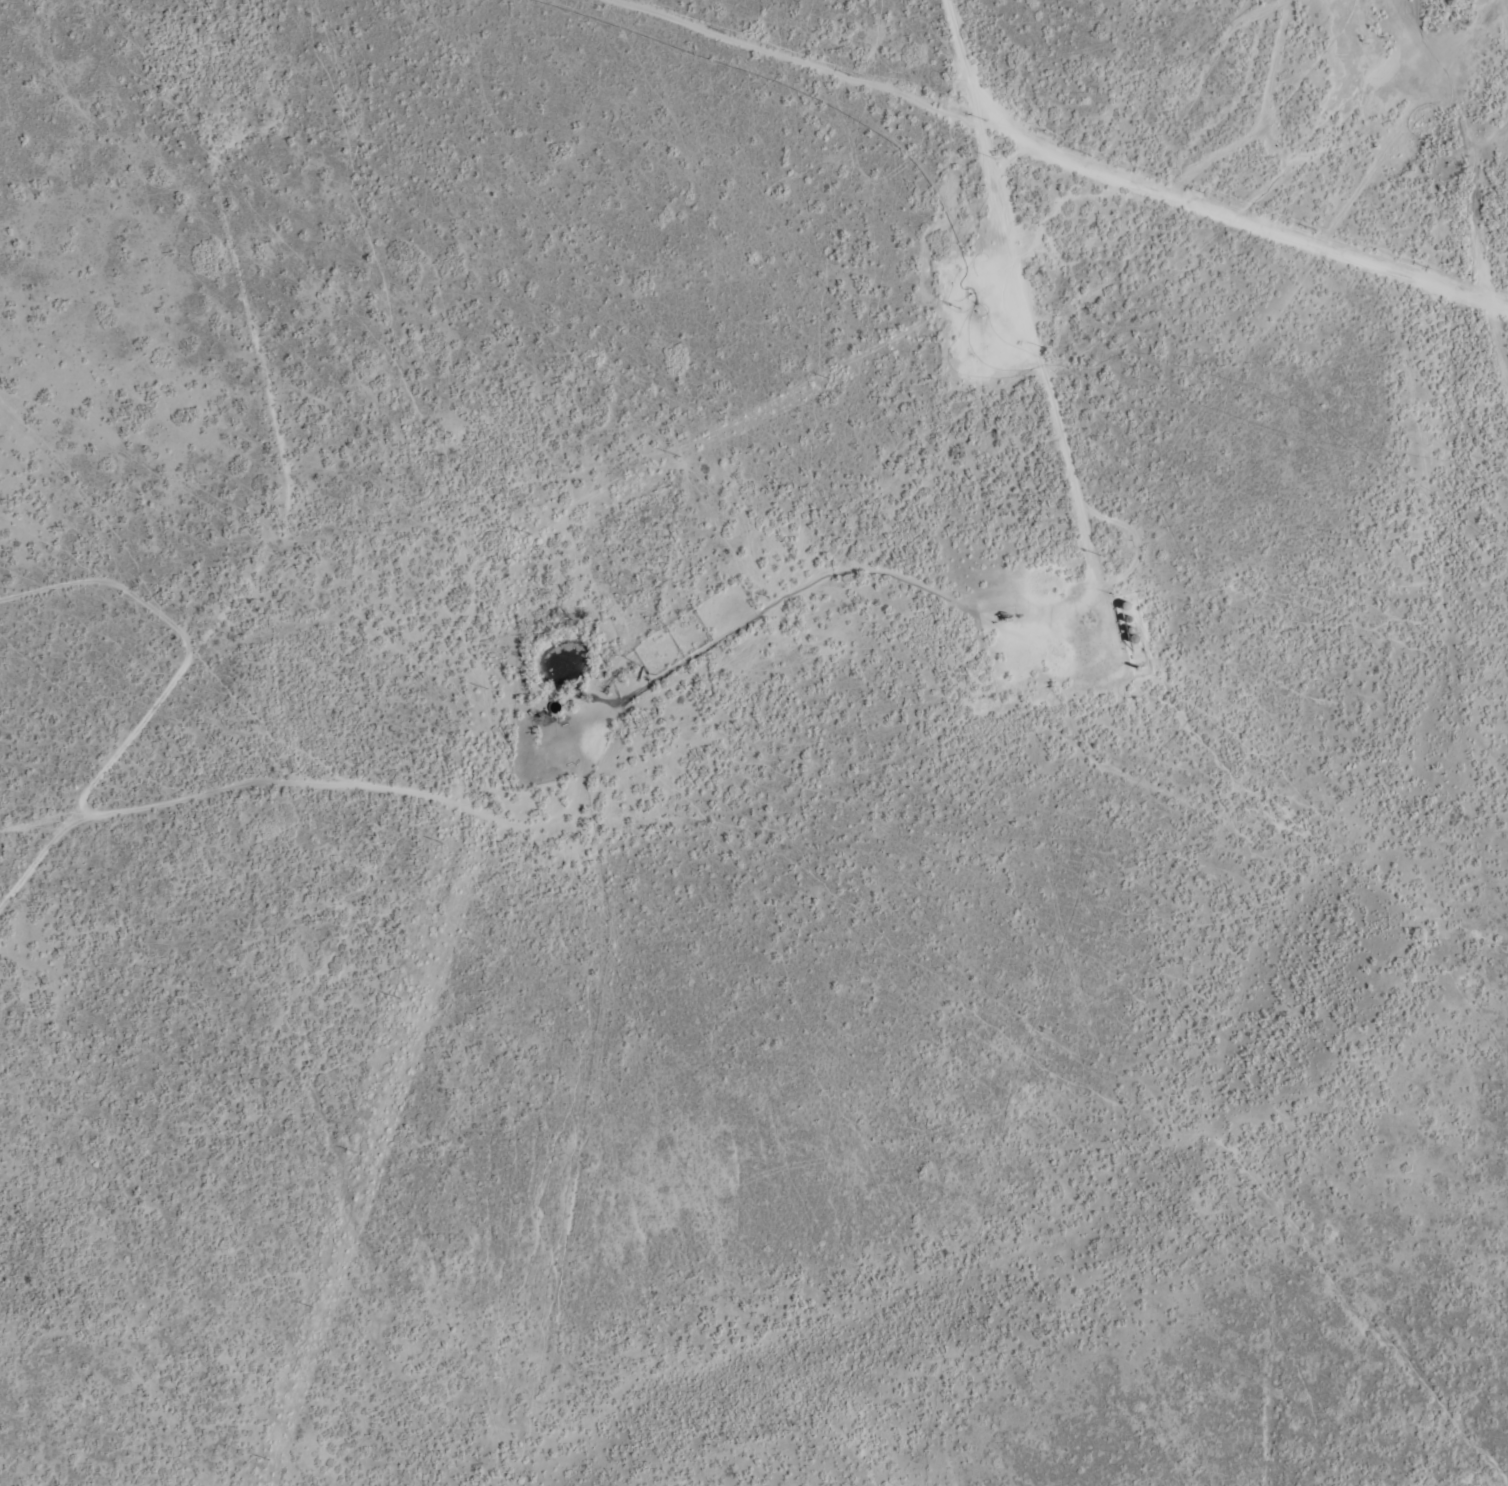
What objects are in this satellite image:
river: (1506, 4)
river: (1118, 1192)

